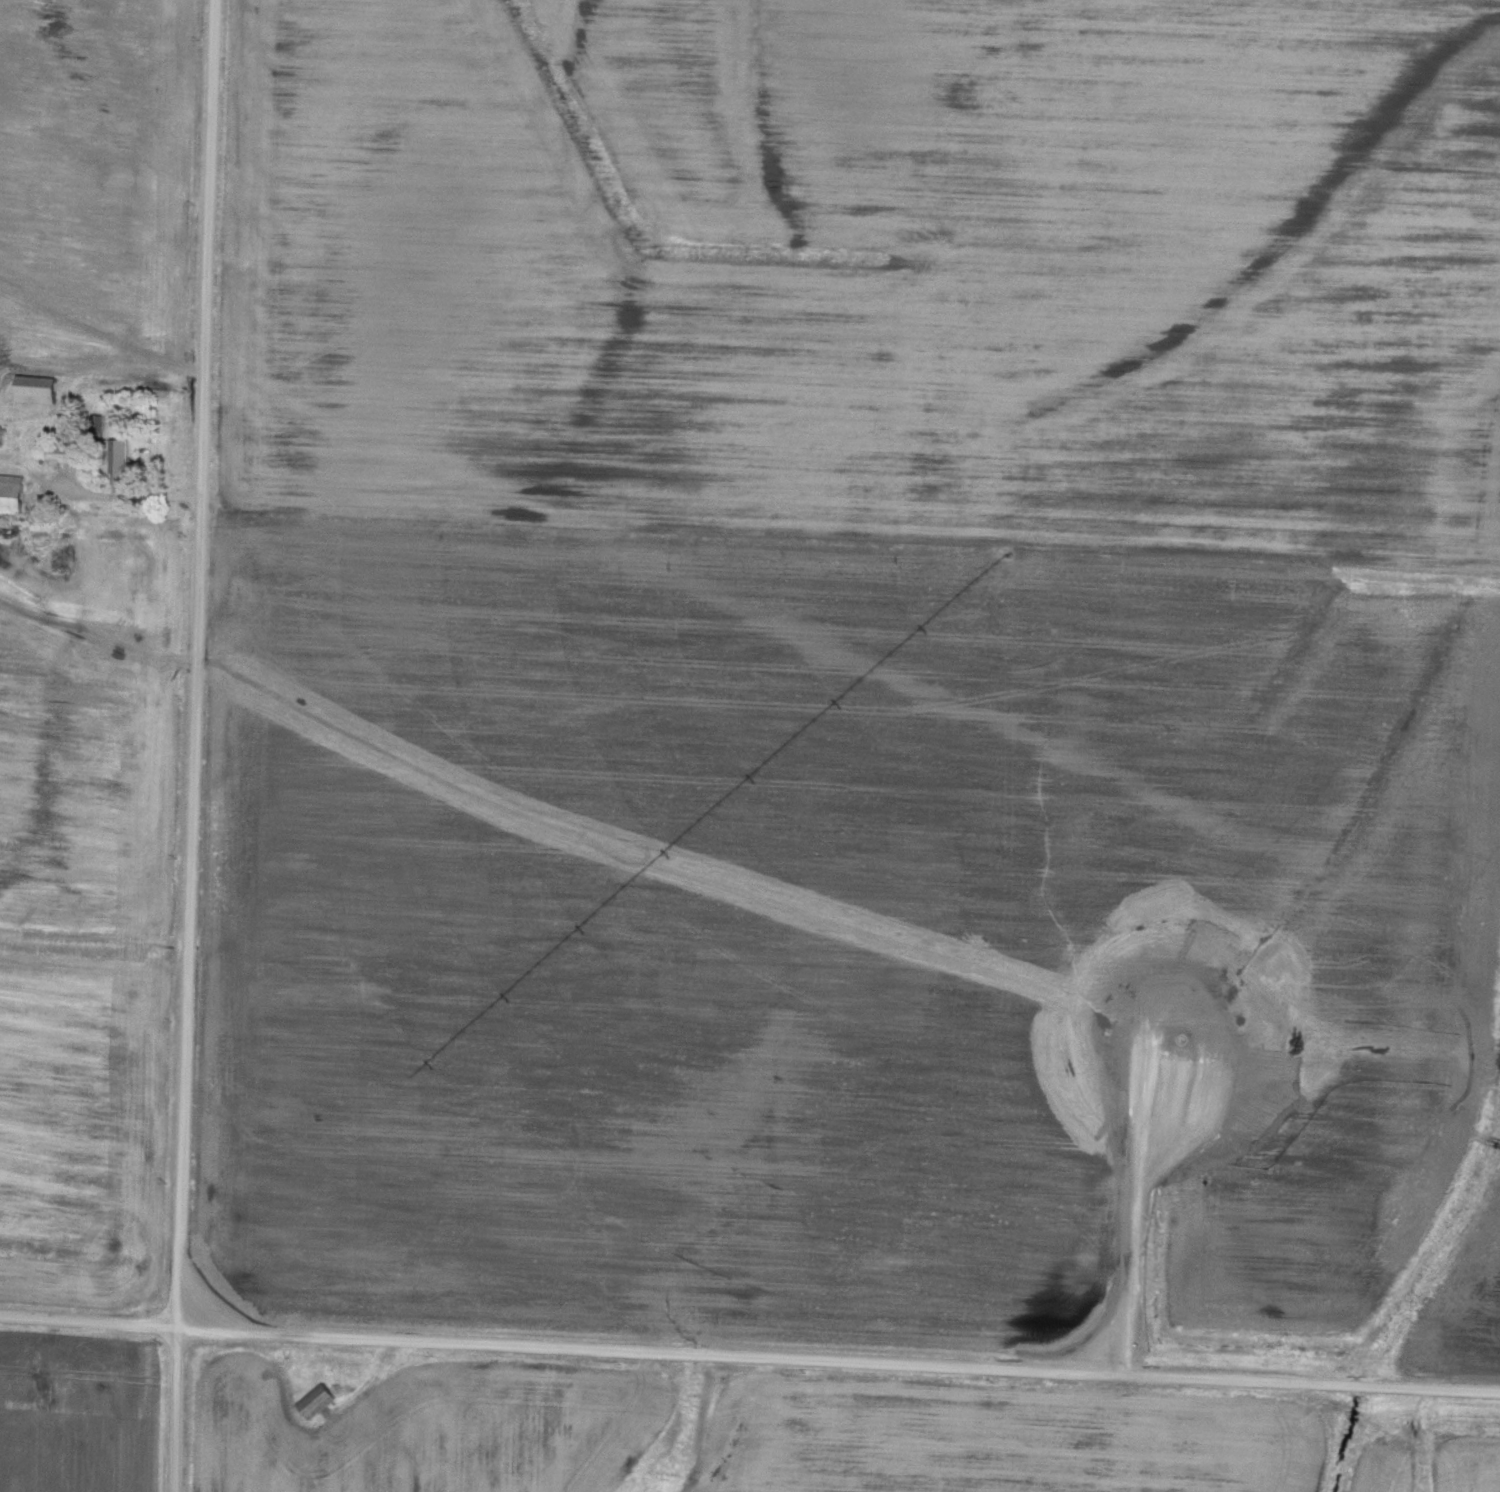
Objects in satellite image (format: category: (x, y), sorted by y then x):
building: (38, 387)
building: (1, 431)
building: (68, 450)
building: (122, 454)
road: (122, 490)
building: (12, 491)
road: (195, 745)
wind turbine: (1183, 1049)
road: (749, 1354)

